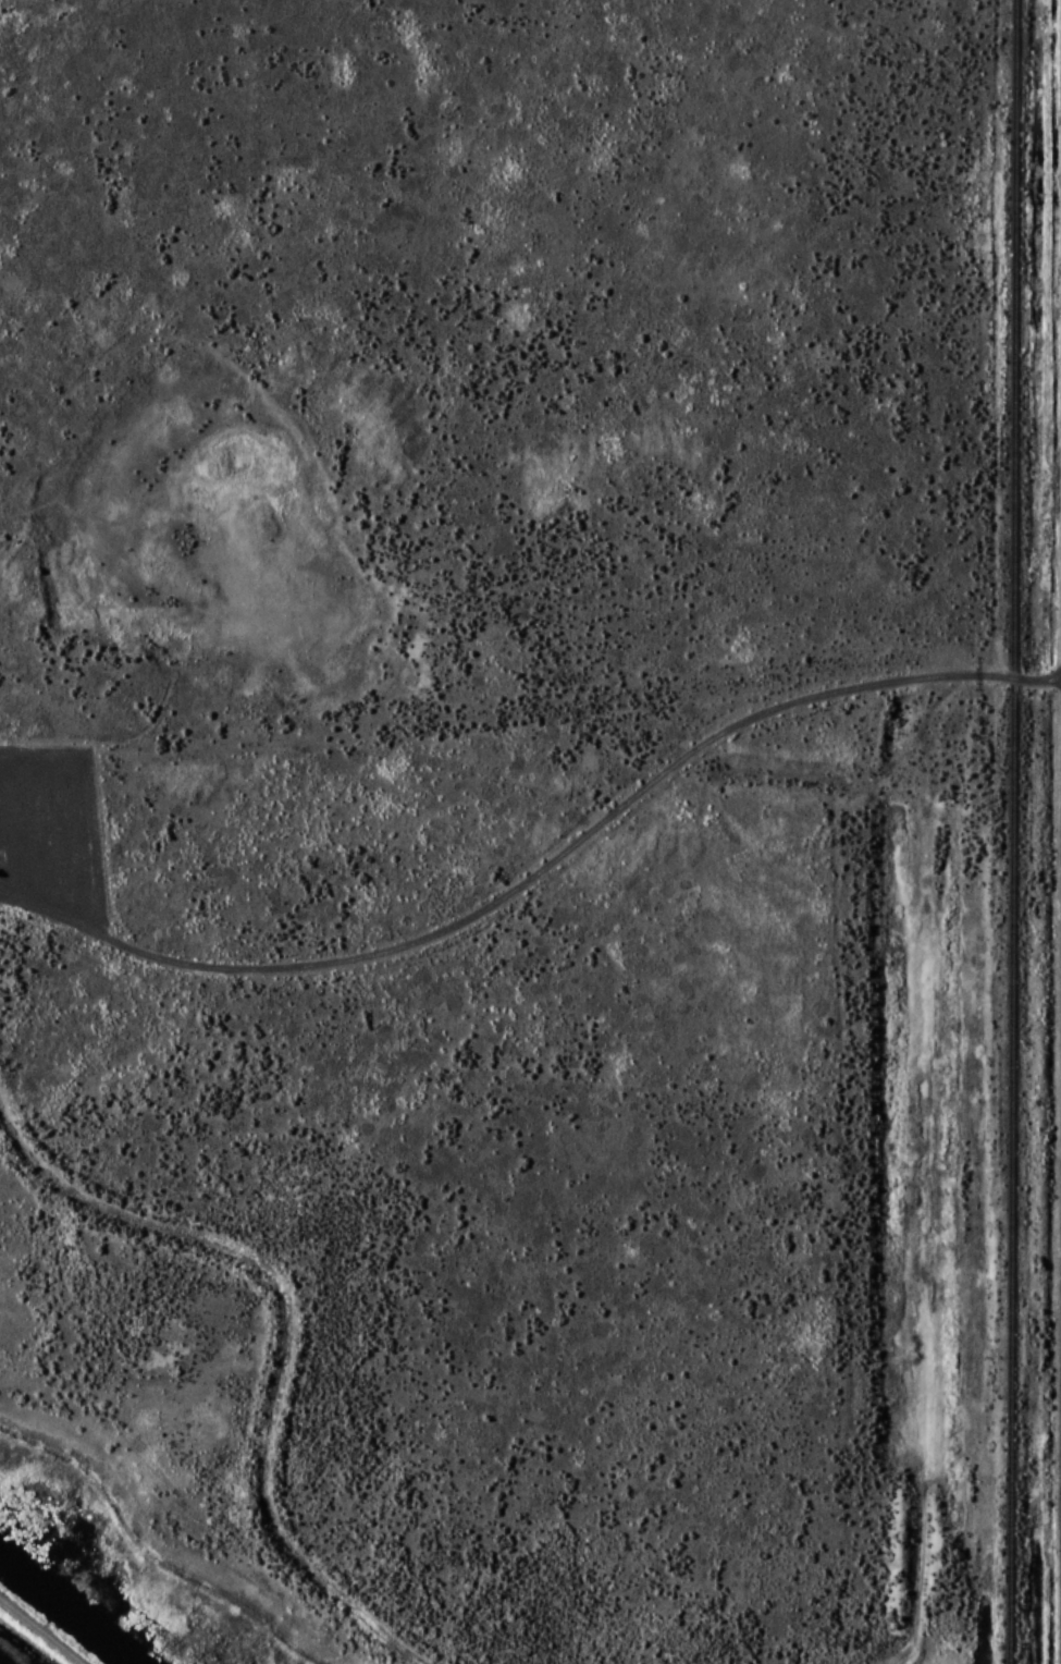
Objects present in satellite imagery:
railway: (1013, 832)
road: (540, 872)
road: (940, 1172)
road: (274, 1347)

